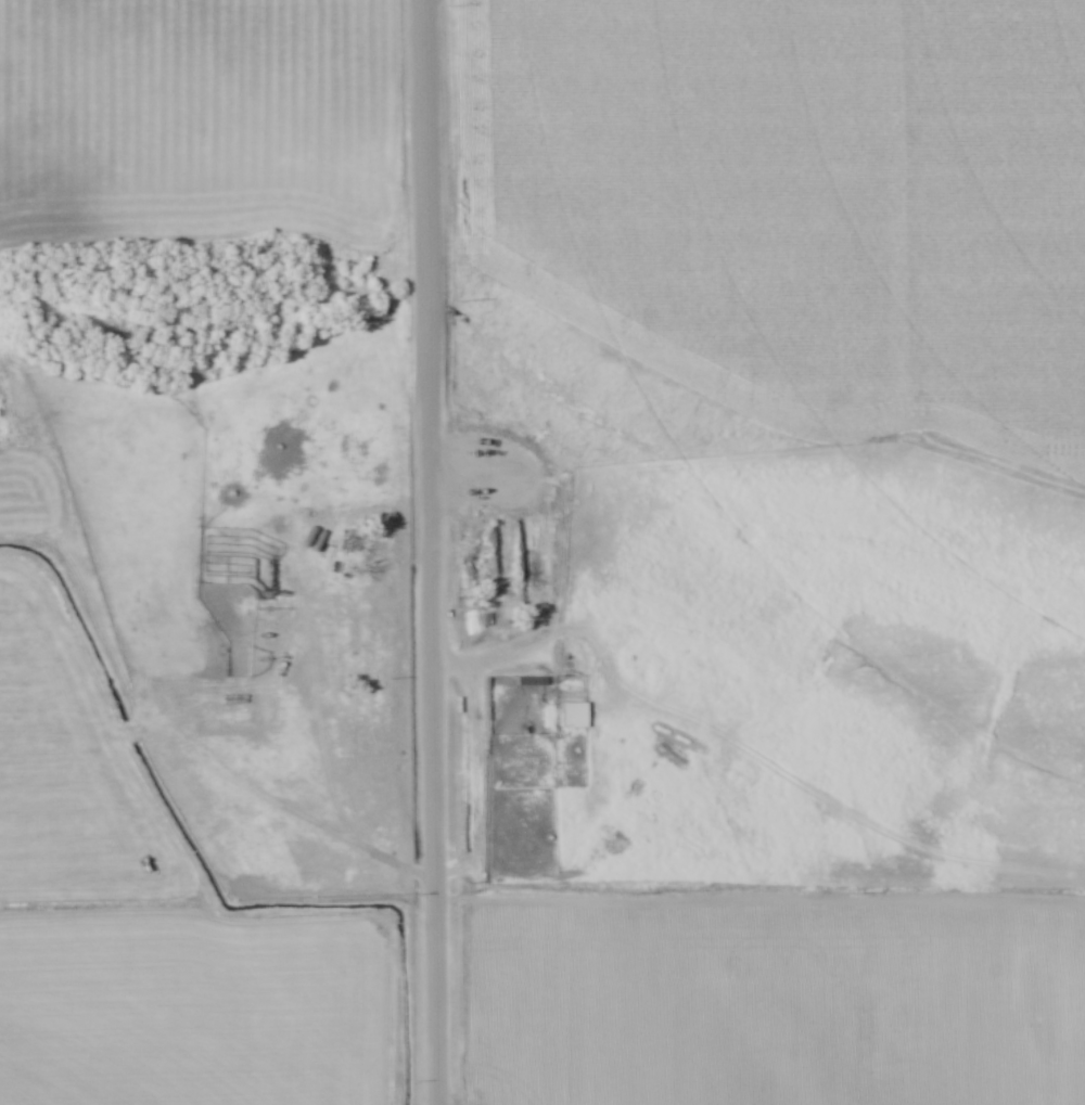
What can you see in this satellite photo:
crop: (195, 123)
crop: (801, 201)
road: (439, 446)
road: (526, 485)
crop: (33, 496)
road: (427, 552)
building: (241, 620)
building: (485, 621)
road: (551, 641)
building: (531, 682)
building: (570, 683)
building: (574, 717)
road: (323, 747)
road: (819, 802)
crop: (148, 922)
crop: (775, 1007)

